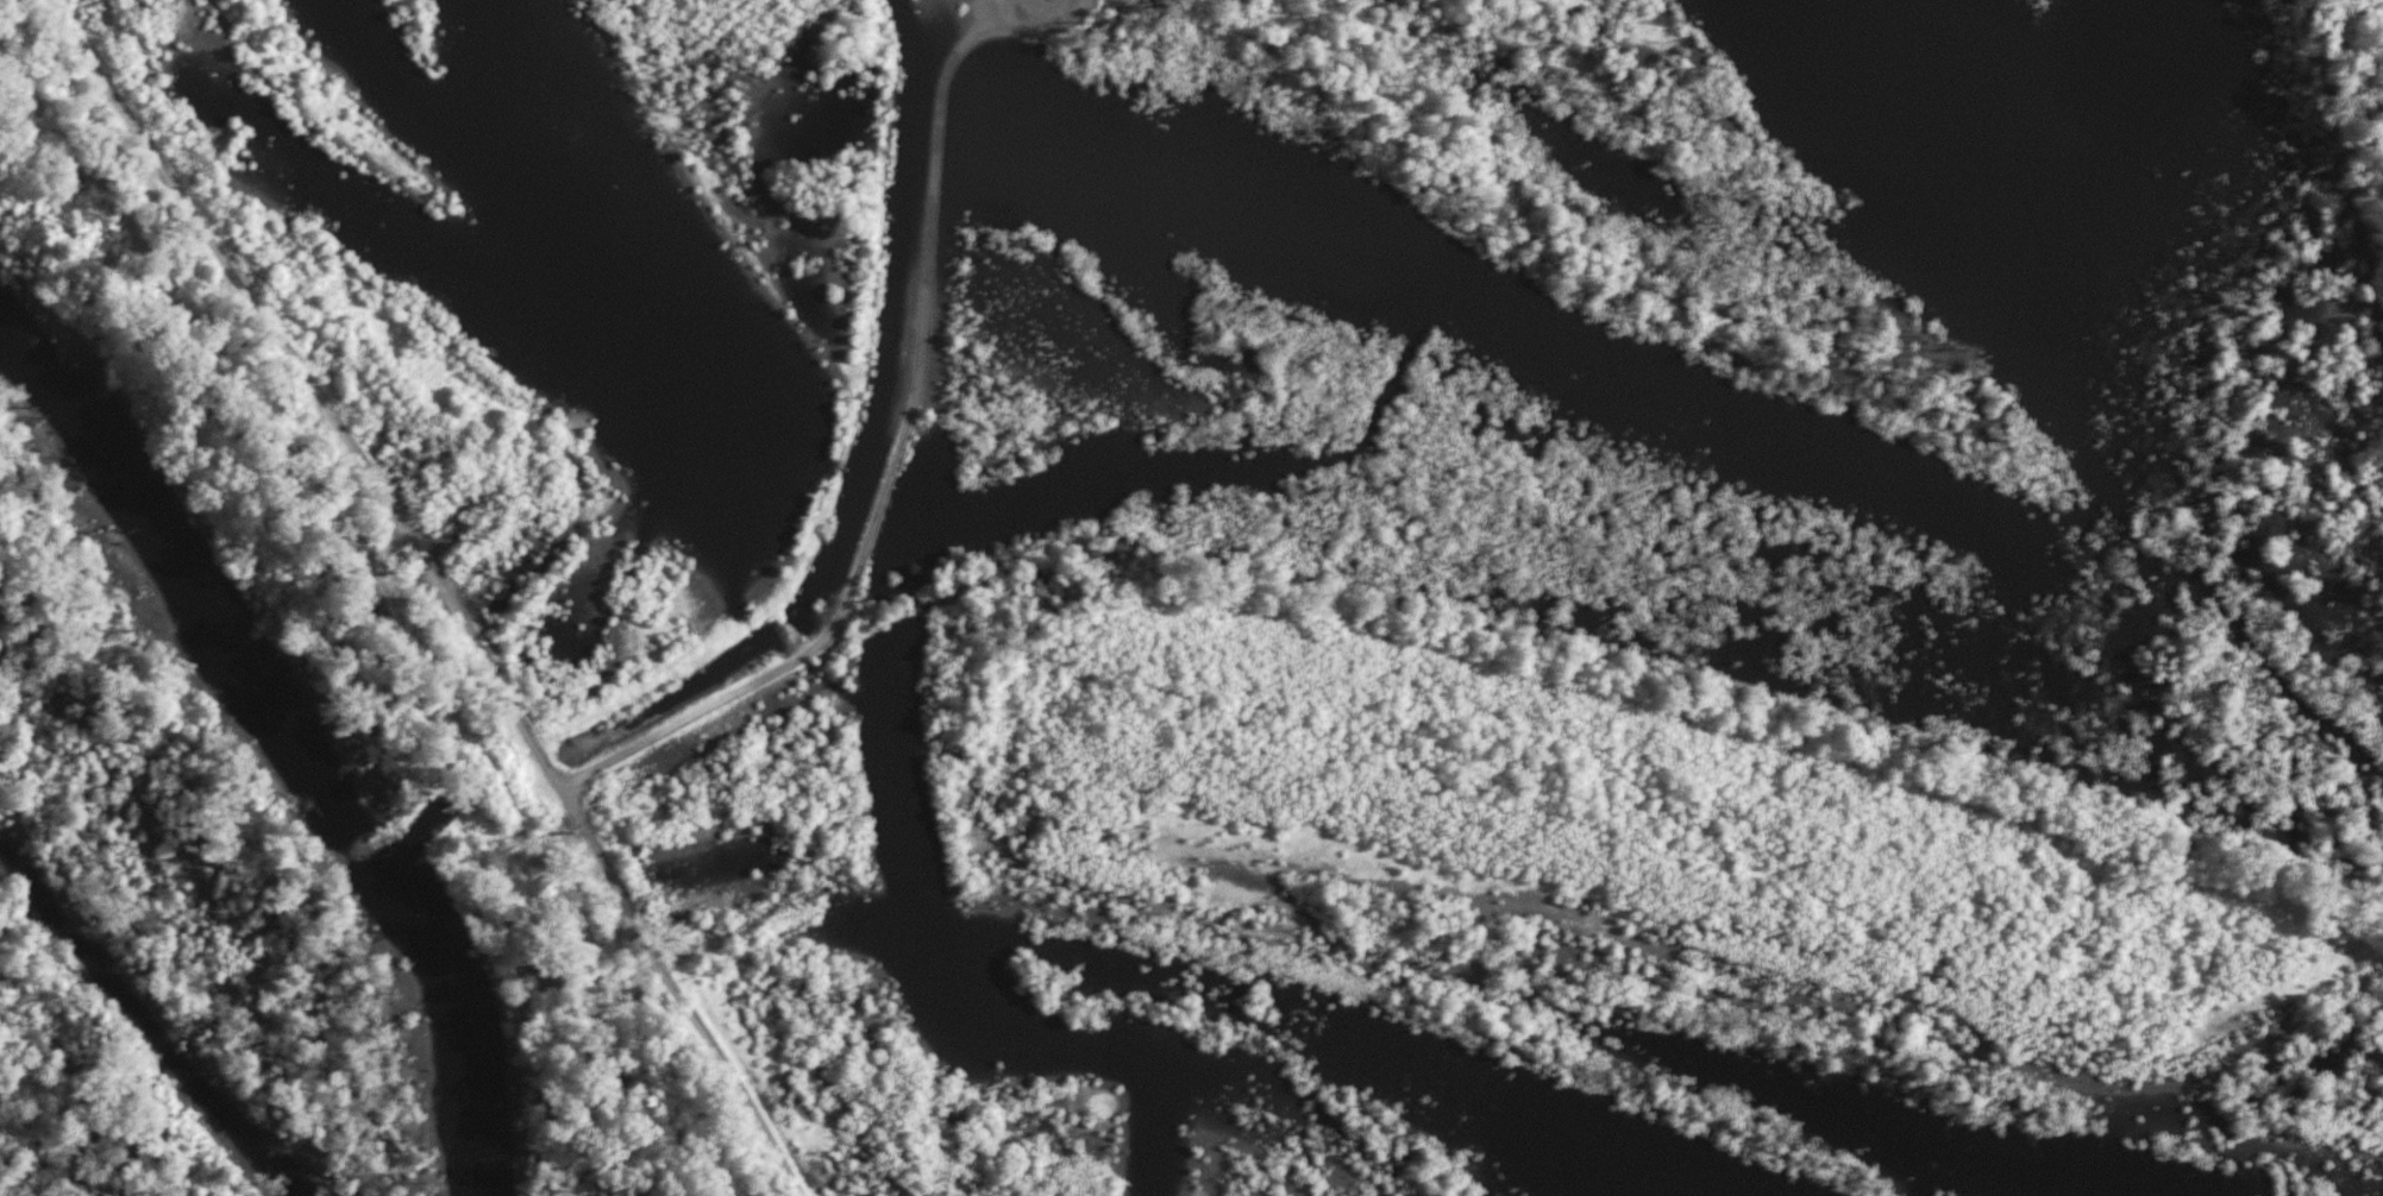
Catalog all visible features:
road: (503, 585)

